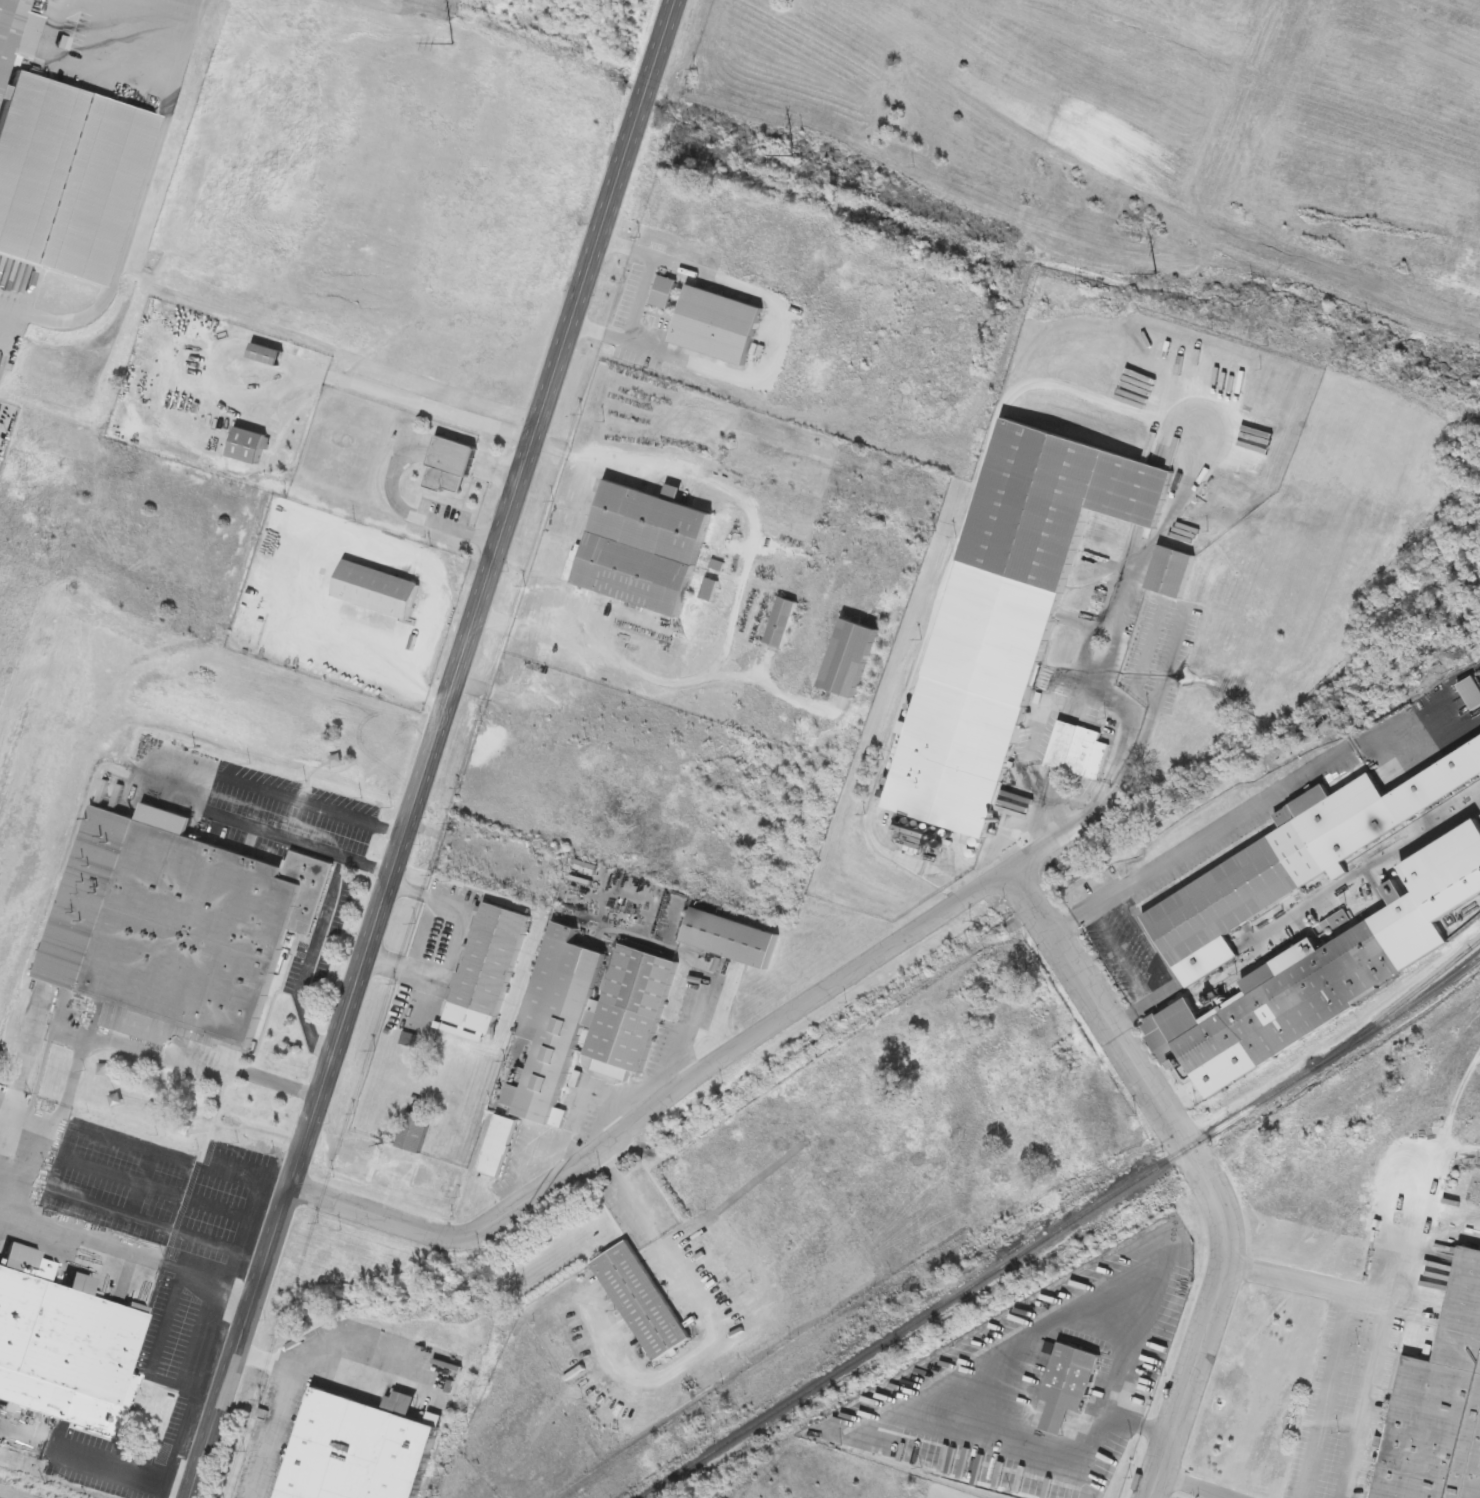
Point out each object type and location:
power tower: (454, 43)
power tower: (795, 155)
building: (60, 164)
road: (132, 202)
power tower: (1158, 274)
road: (637, 298)
road: (776, 347)
building: (265, 354)
building: (247, 445)
building: (449, 466)
road: (456, 530)
building: (641, 548)
road: (746, 566)
building: (1169, 573)
building: (375, 589)
building: (708, 589)
building: (1006, 615)
building: (780, 623)
road: (545, 639)
building: (847, 659)
road: (387, 660)
road: (480, 689)
building: (1470, 692)
road: (433, 748)
building: (1078, 751)
road: (214, 775)
road: (1045, 788)
road: (1086, 800)
road: (1041, 842)
road: (1210, 851)
road: (369, 866)
building: (1266, 877)
building: (176, 928)
road: (458, 931)
road: (309, 961)
building: (486, 967)
road: (404, 970)
building: (639, 981)
road: (1142, 981)
railway: (1410, 996)
building: (1294, 997)
building: (553, 1025)
road: (695, 1044)
road: (75, 1058)
road: (280, 1084)
road: (670, 1110)
building: (413, 1132)
building: (497, 1145)
road: (1200, 1174)
railway: (1065, 1229)
road: (129, 1252)
road: (1389, 1285)
building: (640, 1300)
road: (712, 1319)
road: (1345, 1328)
building: (63, 1350)
road: (360, 1354)
road: (1140, 1383)
building: (1066, 1384)
road: (1361, 1400)
building: (1438, 1405)
road: (278, 1407)
building: (356, 1448)
road: (96, 1460)
road: (1192, 1486)

